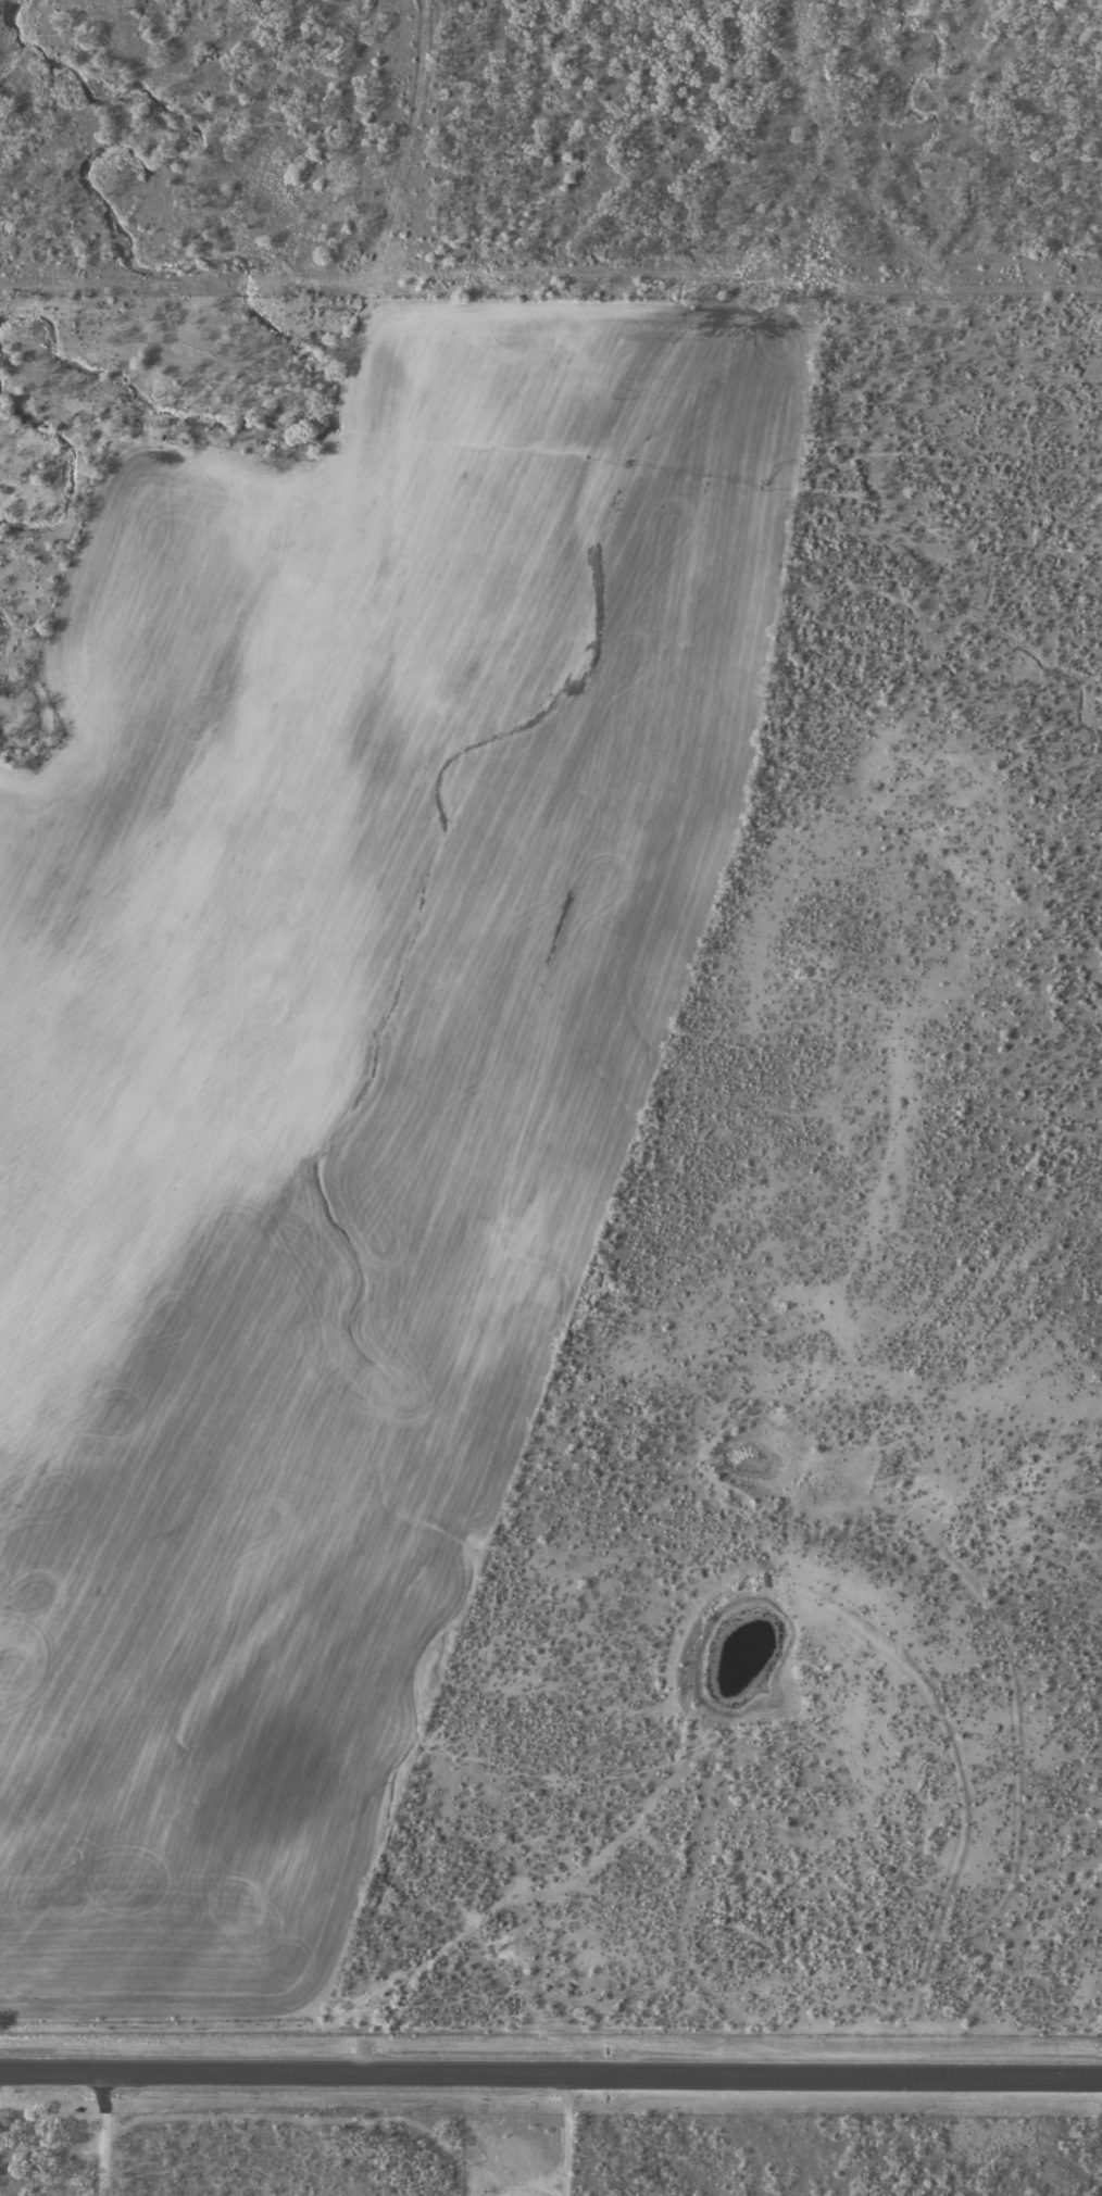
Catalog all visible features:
road: (551, 2082)

